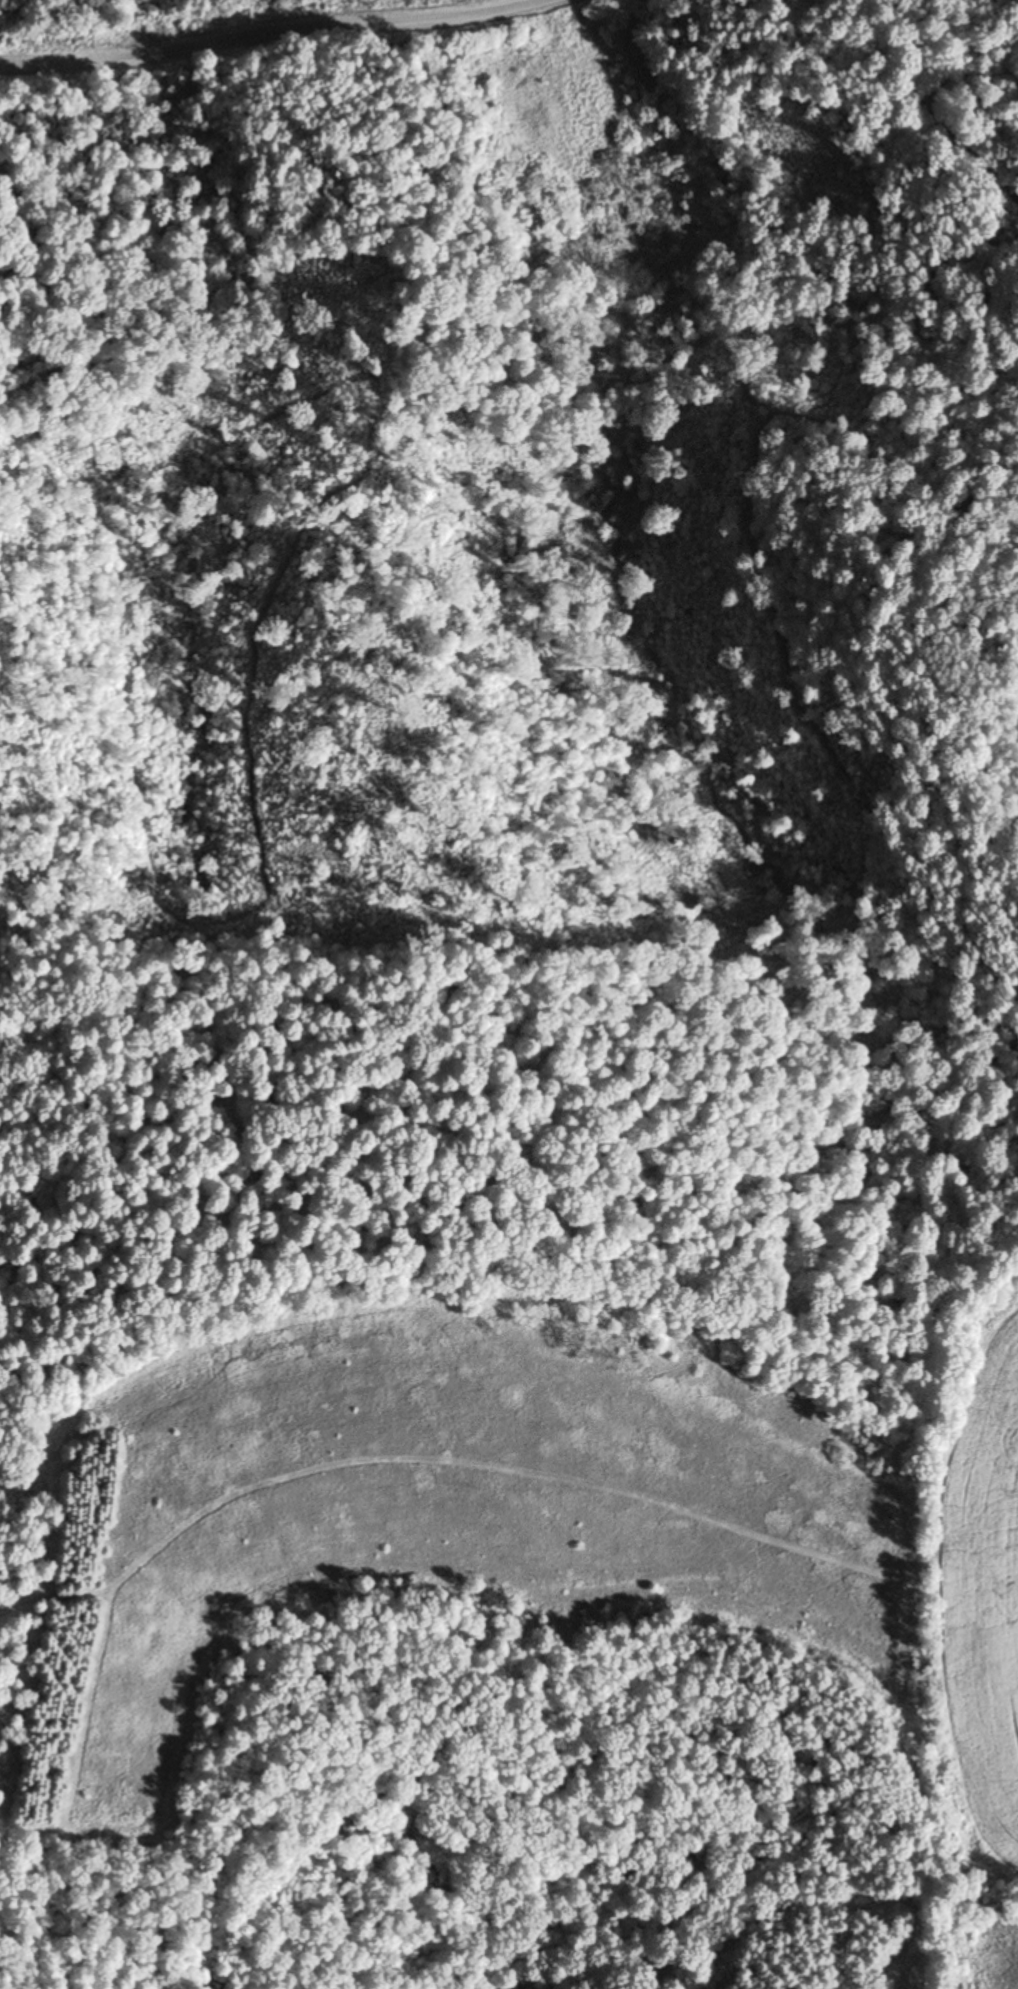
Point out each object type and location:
road: (270, 35)

